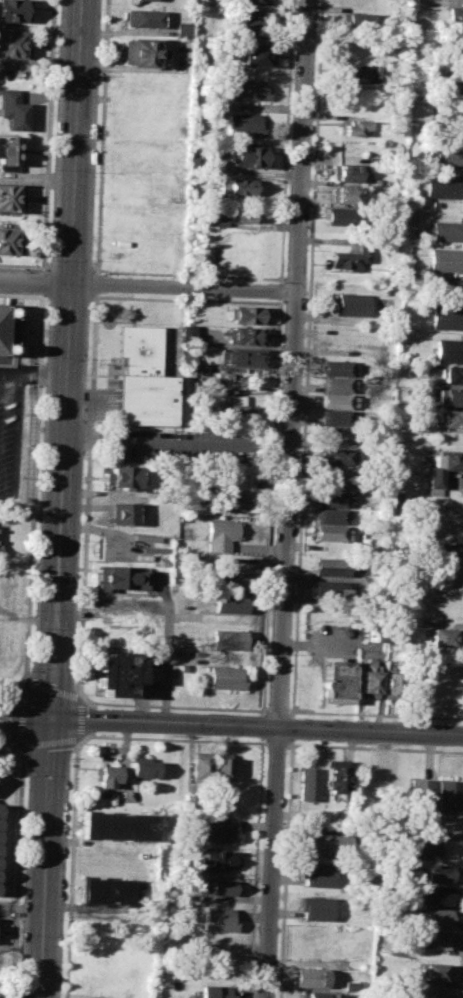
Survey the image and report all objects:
building: (146, 0)
road: (455, 0)
building: (255, 2)
building: (14, 11)
building: (454, 15)
building: (143, 18)
building: (357, 22)
building: (248, 26)
building: (181, 29)
building: (15, 43)
building: (142, 52)
building: (255, 54)
street lamp: (56, 74)
building: (359, 74)
street lamp: (99, 77)
building: (248, 89)
building: (456, 90)
building: (12, 109)
building: (142, 115)
building: (244, 125)
building: (353, 129)
road: (48, 135)
road: (101, 136)
road: (286, 141)
road: (74, 142)
building: (8, 154)
building: (249, 155)
building: (445, 155)
street lamp: (52, 171)
building: (347, 173)
street lamp: (95, 174)
building: (237, 187)
building: (441, 188)
building: (345, 194)
building: (10, 197)
building: (242, 214)
building: (216, 217)
building: (341, 217)
building: (446, 232)
building: (6, 240)
building: (350, 258)
building: (444, 259)
street lamp: (48, 261)
street lamp: (91, 262)
street lamp: (101, 274)
road: (188, 275)
road: (34, 282)
road: (42, 282)
road: (95, 283)
road: (181, 288)
building: (454, 288)
road: (280, 290)
road: (187, 301)
building: (351, 305)
building: (248, 315)
building: (447, 318)
building: (5, 333)
building: (247, 336)
building: (448, 350)
building: (243, 358)
road: (307, 358)
street lamp: (45, 359)
street lamp: (87, 361)
flagpole: (108, 366)
building: (338, 368)
road: (9, 372)
road: (42, 374)
building: (452, 374)
building: (142, 379)
building: (336, 384)
building: (449, 397)
road: (89, 398)
building: (336, 401)
building: (240, 412)
building: (336, 418)
building: (449, 418)
parking lot: (10, 430)
building: (338, 436)
road: (15, 441)
street lamp: (41, 450)
building: (333, 456)
street lamp: (84, 459)
building: (443, 467)
building: (121, 478)
building: (335, 478)
road: (87, 494)
road: (286, 498)
building: (333, 499)
road: (33, 500)
road: (59, 501)
building: (233, 503)
road: (272, 506)
building: (124, 513)
building: (331, 517)
building: (332, 533)
building: (222, 534)
street lamp: (37, 537)
street lamp: (81, 544)
building: (447, 549)
building: (328, 567)
building: (121, 578)
building: (232, 579)
building: (329, 589)
building: (232, 602)
street lamp: (78, 610)
street lamp: (34, 612)
building: (374, 634)
building: (444, 637)
building: (228, 639)
road: (166, 669)
street lamp: (30, 670)
building: (117, 673)
building: (225, 678)
building: (371, 680)
road: (24, 682)
building: (340, 682)
street lamp: (75, 683)
building: (391, 683)
building: (307, 691)
road: (23, 697)
road: (172, 707)
street lamp: (111, 708)
road: (278, 711)
road: (376, 715)
road: (25, 718)
traffic signals: (51, 719)
road: (263, 725)
road: (257, 727)
road: (293, 728)
road: (81, 740)
road: (277, 744)
road: (10, 746)
road: (374, 748)
street lamp: (72, 762)
building: (199, 766)
building: (143, 768)
building: (221, 769)
road: (75, 775)
building: (109, 776)
building: (335, 776)
street lamp: (27, 778)
building: (309, 784)
building: (422, 795)
building: (450, 795)
building: (190, 802)
building: (219, 805)
building: (114, 825)
building: (224, 831)
street lamp: (24, 836)
street lamp: (68, 836)
building: (325, 845)
building: (421, 849)
road: (45, 858)
building: (220, 859)
road: (256, 867)
road: (286, 868)
road: (18, 873)
building: (317, 874)
building: (439, 874)
building: (220, 887)
building: (97, 891)
building: (434, 895)
building: (317, 908)
road: (21, 910)
building: (437, 918)
building: (220, 919)
street lamp: (21, 934)
street lamp: (64, 936)
building: (436, 940)
road: (461, 964)
building: (436, 972)
building: (313, 978)
building: (352, 986)
building: (217, 991)
building: (435, 993)
building: (319, 995)

